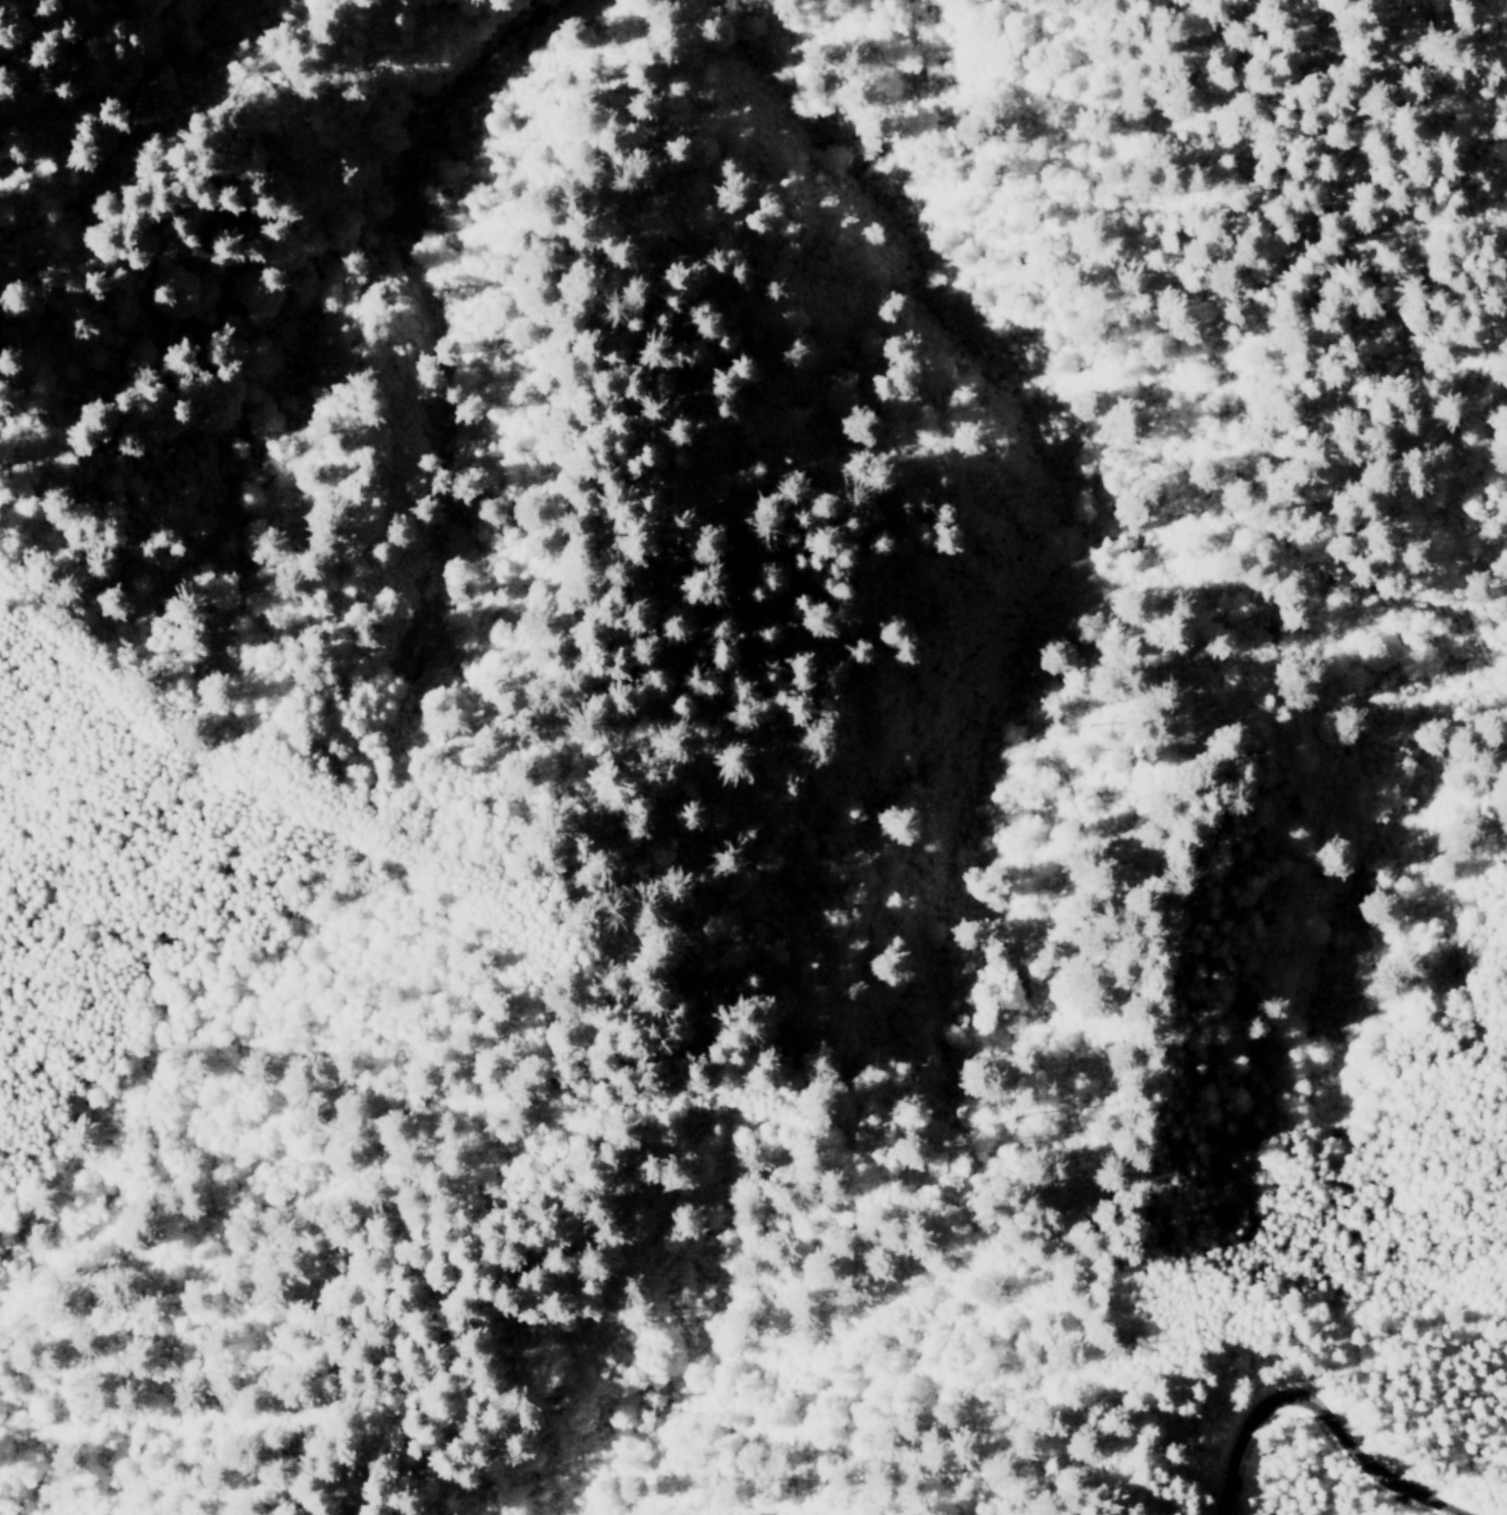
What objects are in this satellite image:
road: (1274, 1306)
road: (1319, 1412)
road: (1506, 1514)

